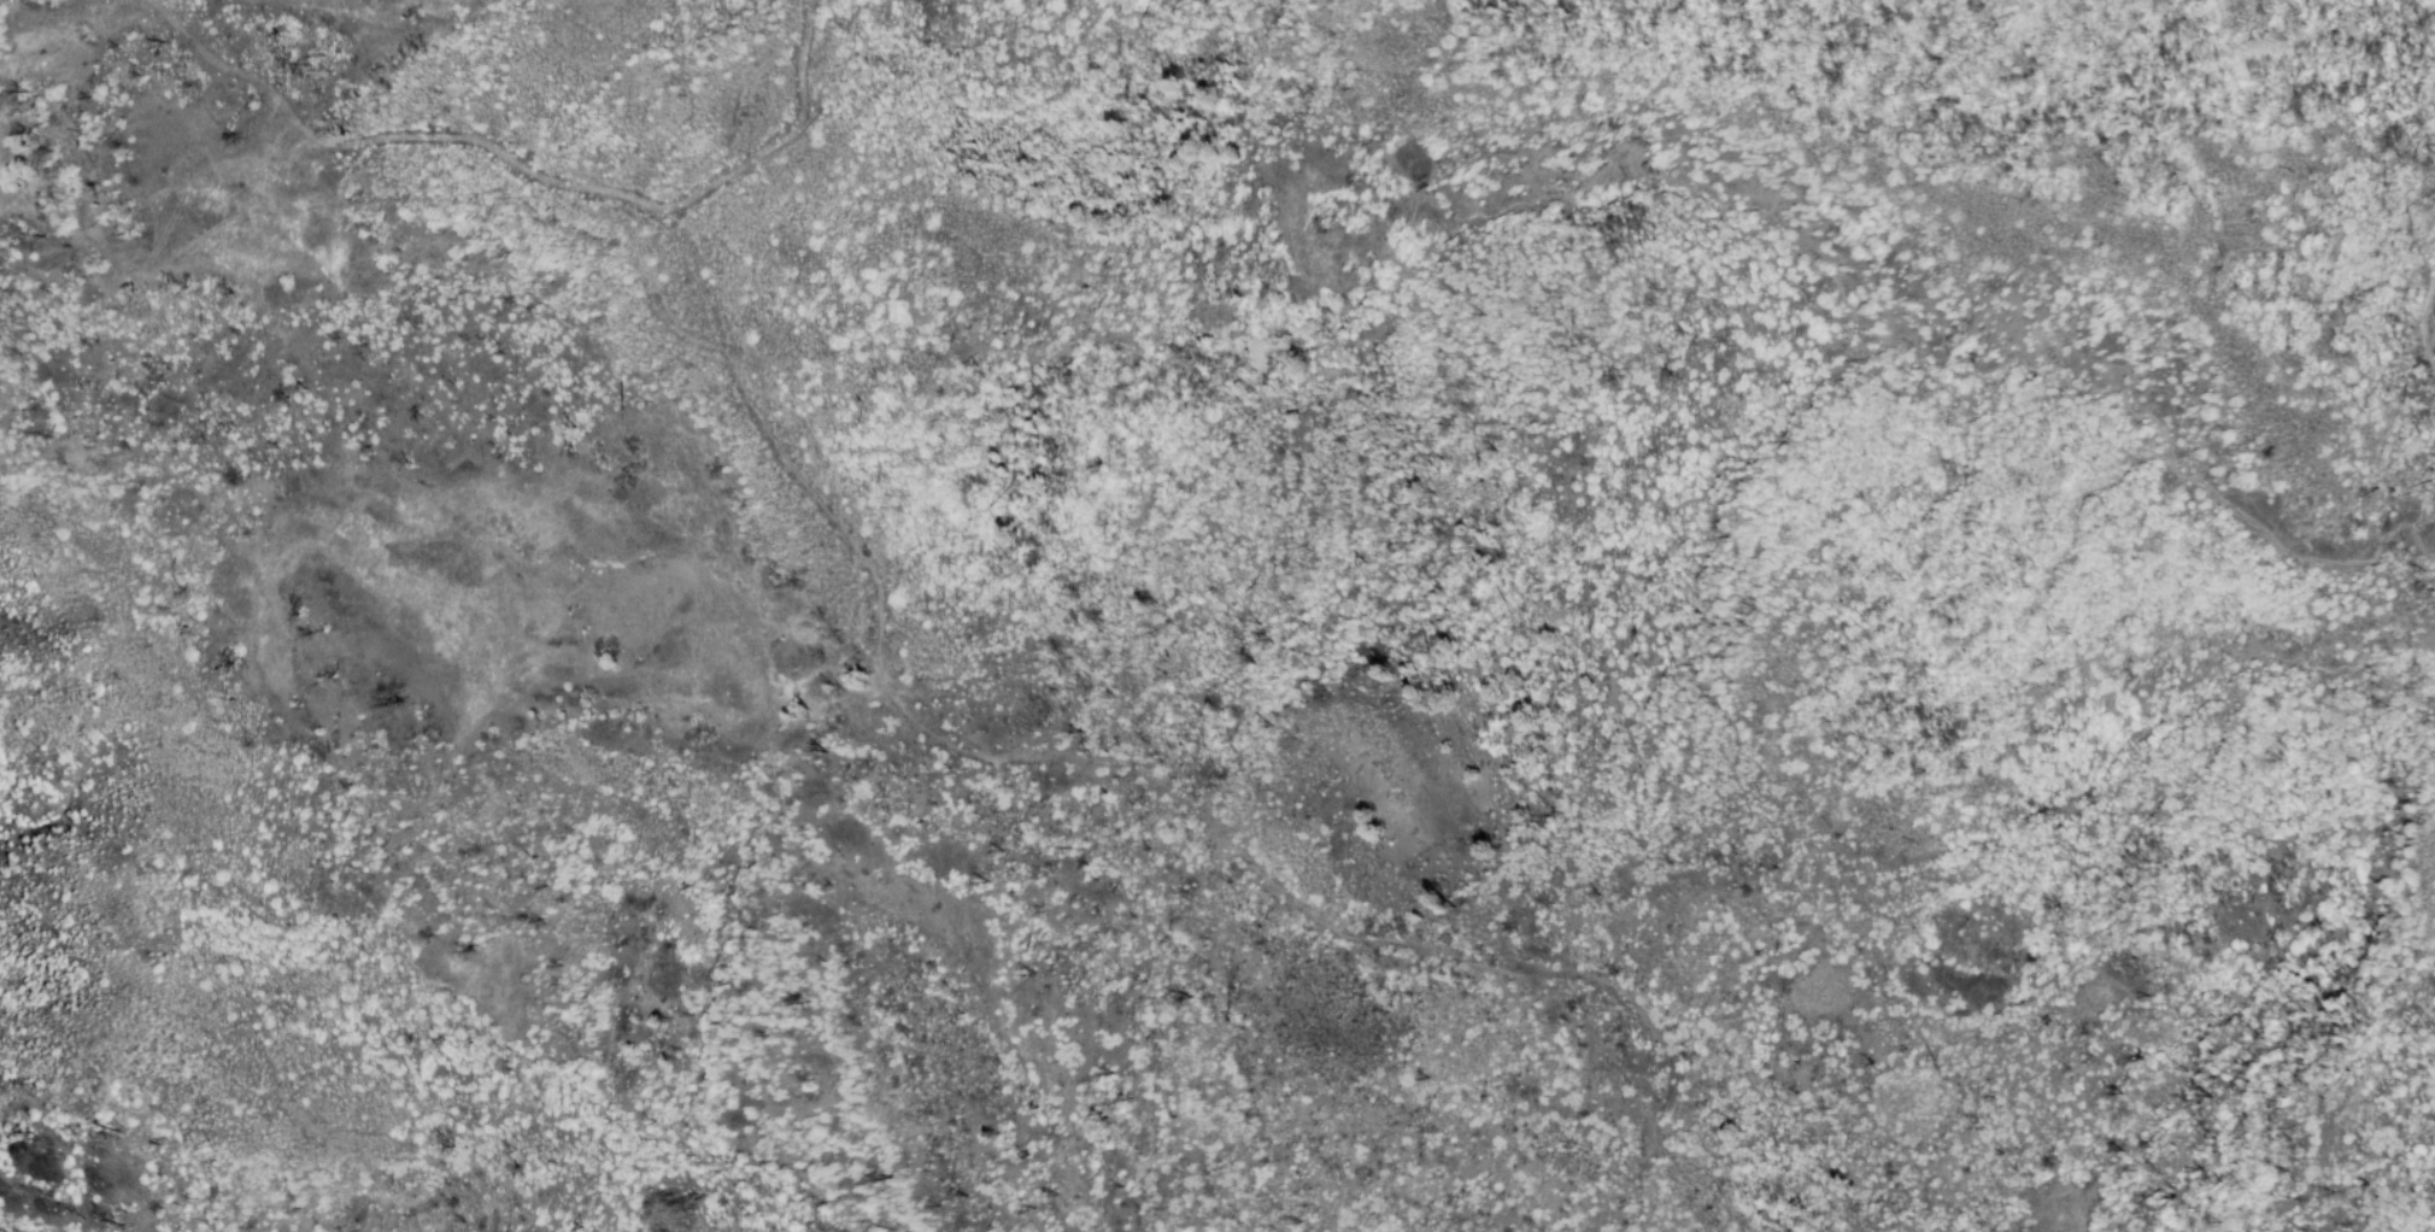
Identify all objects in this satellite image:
road: (256, 83)
road: (886, 611)
road: (40, 1102)

